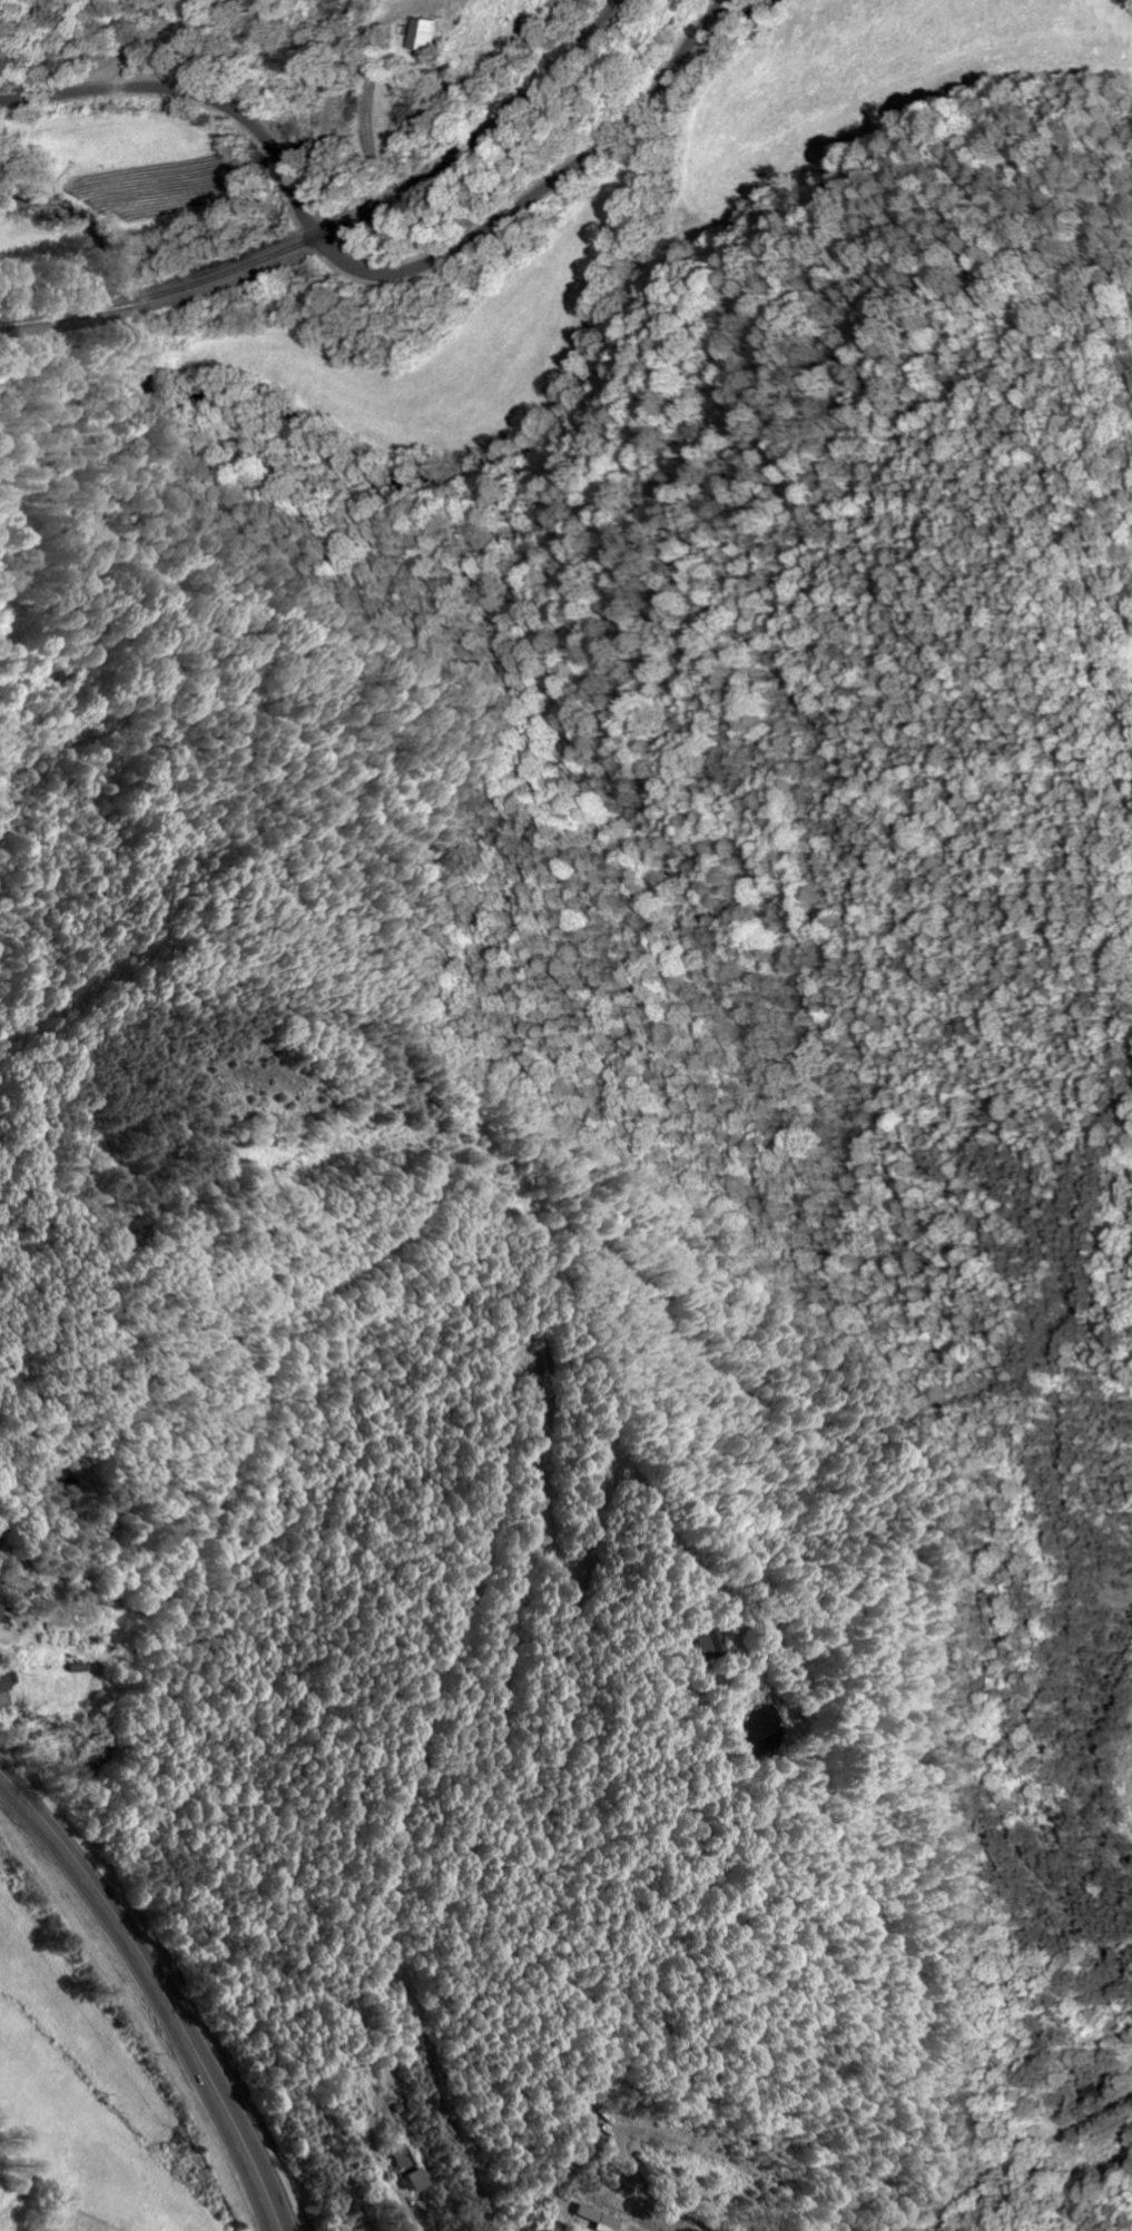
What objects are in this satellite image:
road: (245, 26)
building: (420, 34)
road: (324, 130)
railway: (337, 219)
road: (372, 274)
building: (702, 1642)
building: (8, 1679)
road: (161, 1987)
road: (1024, 2153)
building: (403, 2166)
building: (593, 2217)

